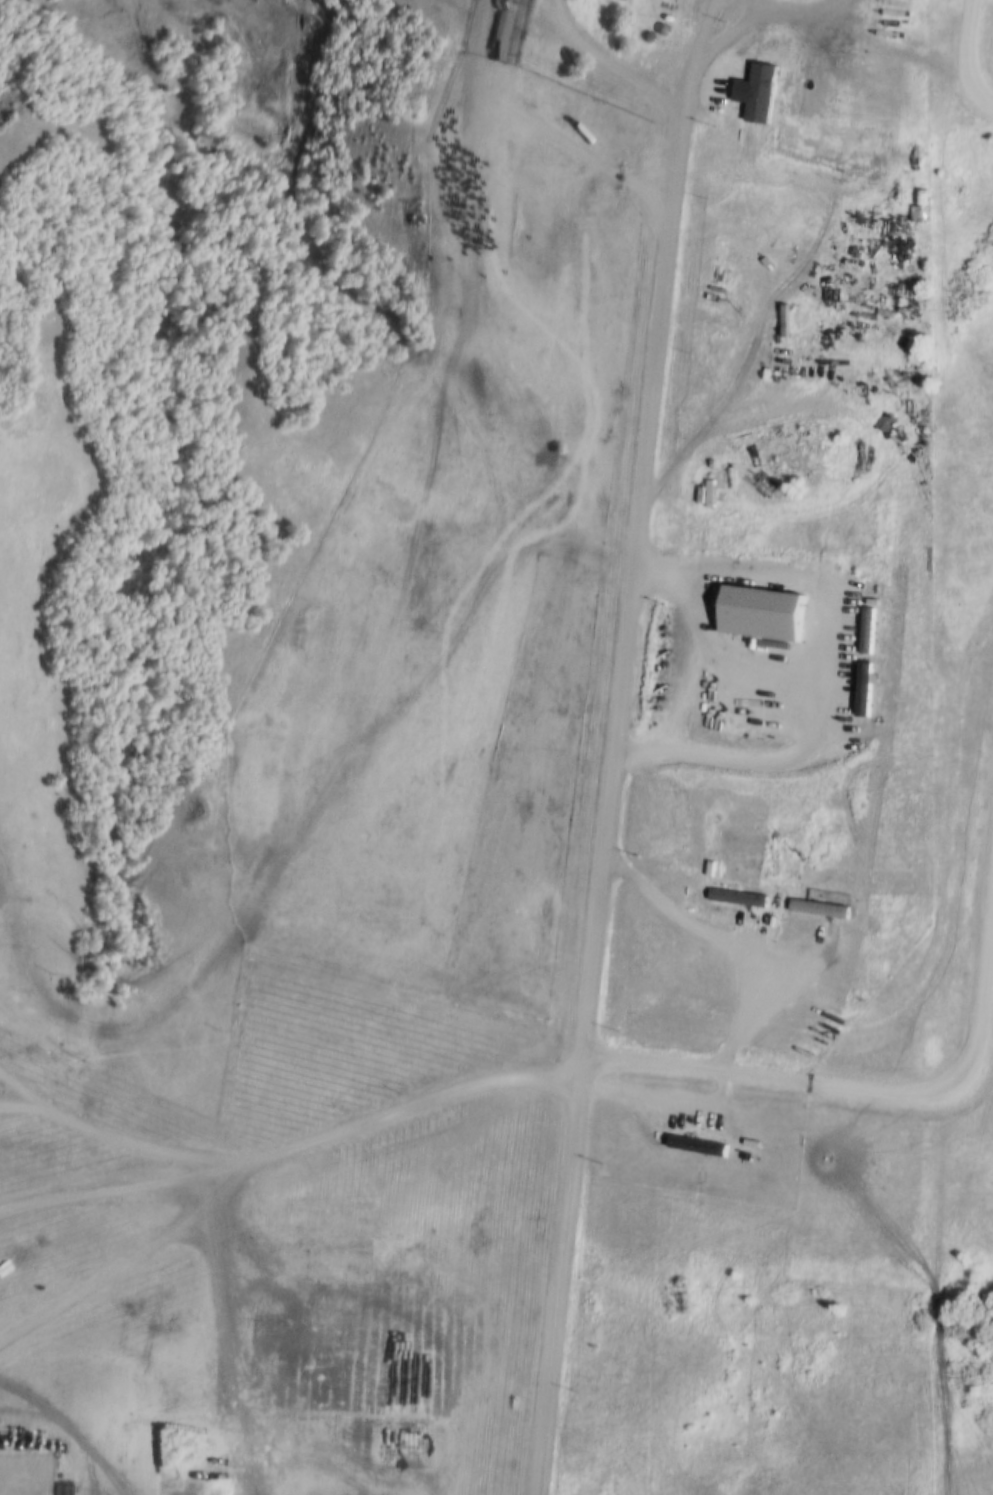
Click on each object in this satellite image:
road: (455, 11)
road: (825, 14)
building: (659, 29)
silo: (659, 29)
building: (644, 35)
silo: (644, 35)
building: (757, 41)
silo: (757, 41)
road: (598, 56)
building: (642, 59)
silo: (642, 59)
road: (962, 59)
building: (618, 206)
road: (479, 303)
road: (798, 322)
building: (899, 428)
building: (839, 452)
road: (639, 524)
building: (758, 611)
road: (351, 746)
building: (736, 899)
building: (814, 910)
road: (896, 1091)
road: (17, 1102)
road: (287, 1145)
building: (693, 1147)
road: (560, 1274)

